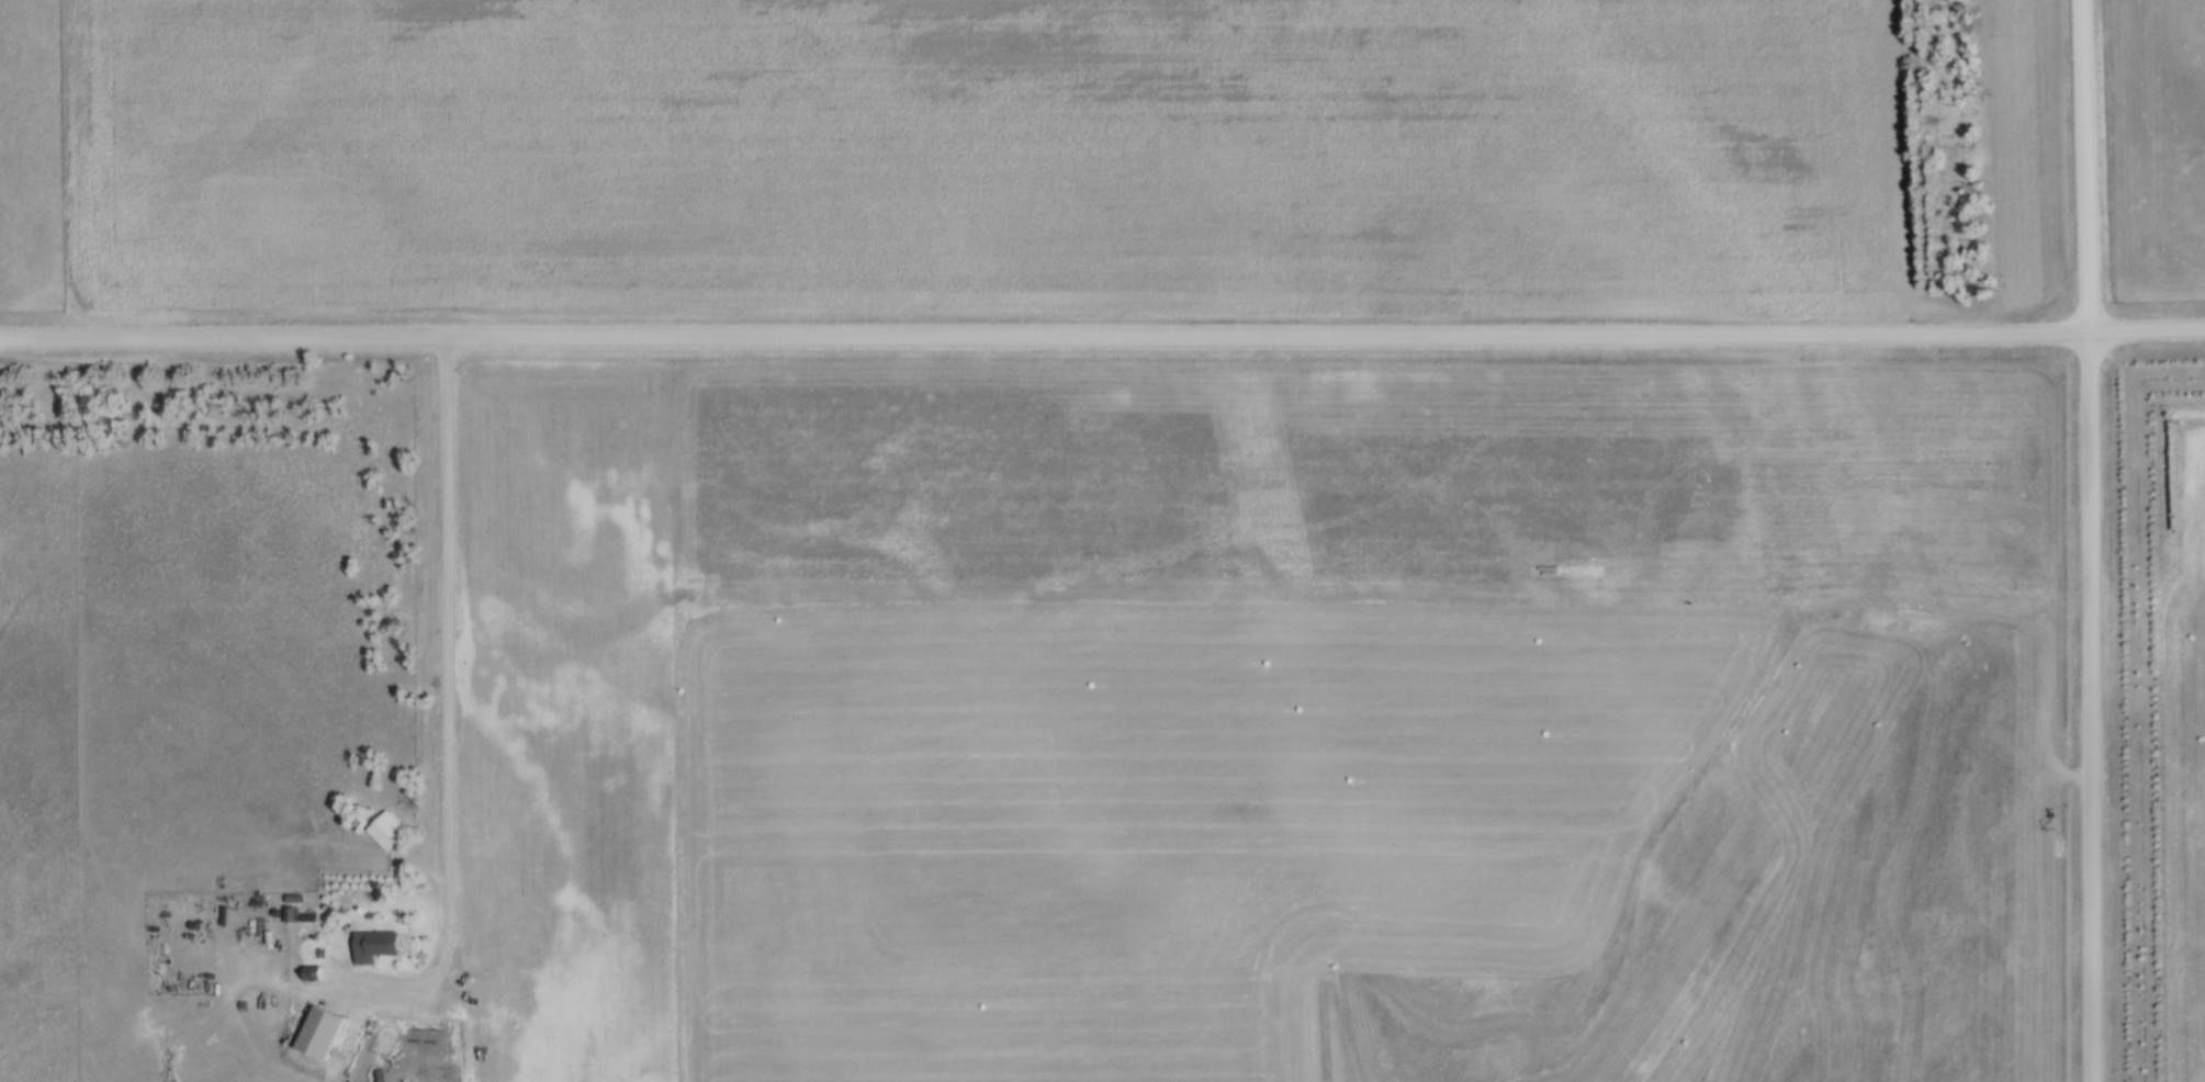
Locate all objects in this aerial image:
road: (1102, 336)
road: (2091, 540)
road: (448, 690)
building: (385, 944)
building: (330, 1019)

